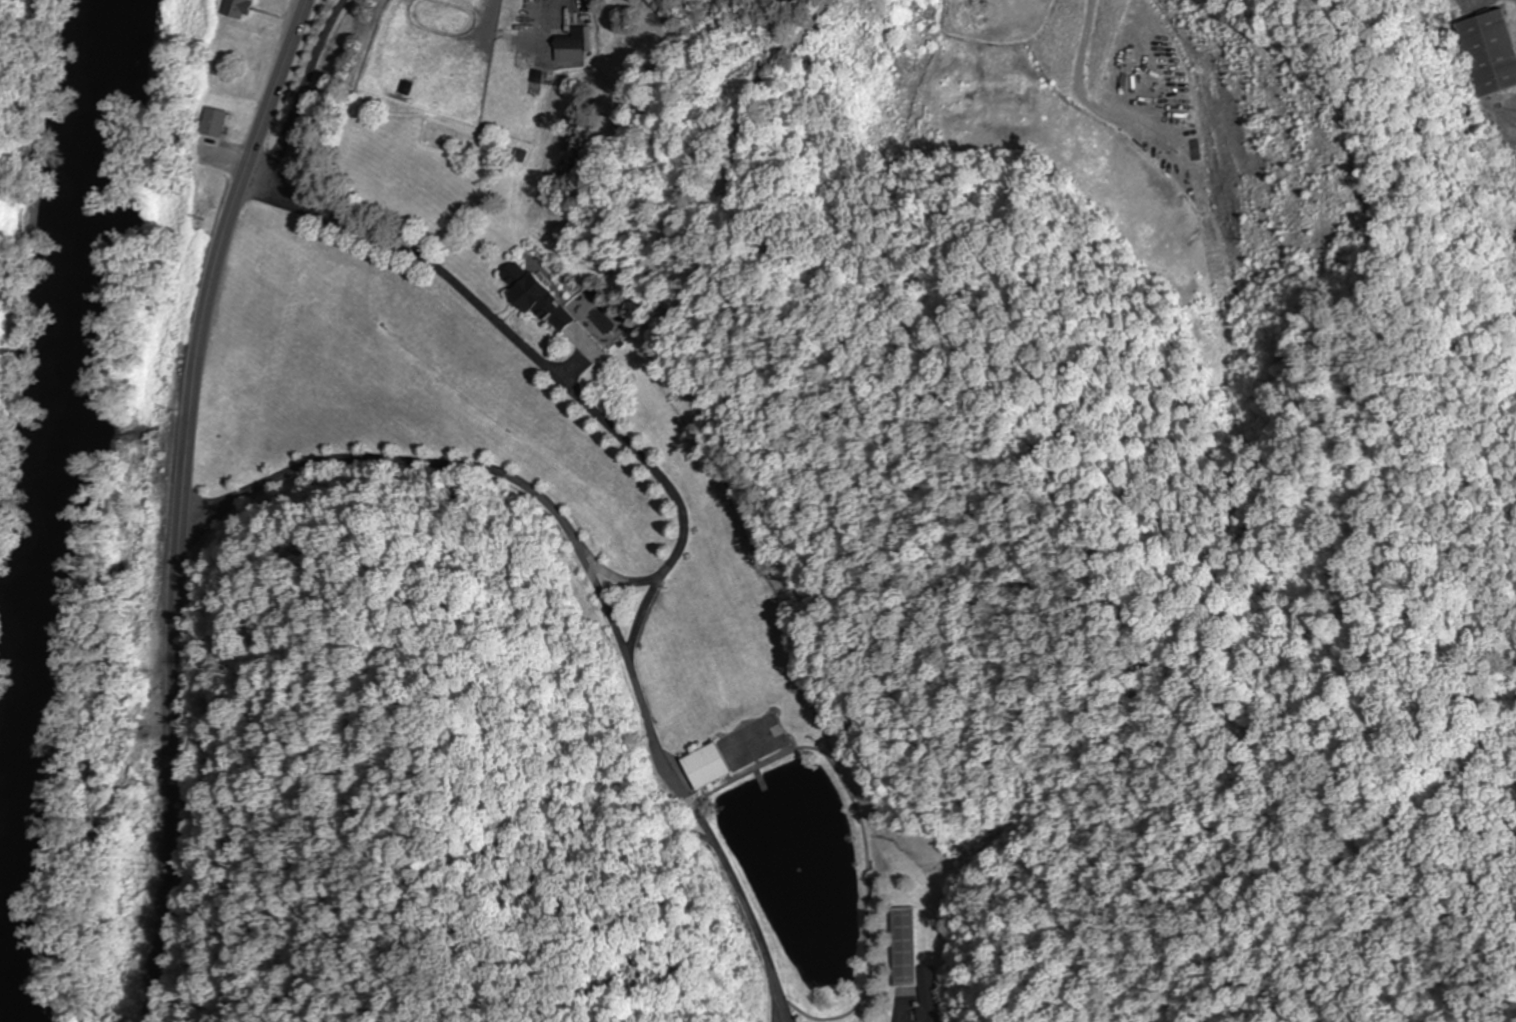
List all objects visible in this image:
building: (233, 9)
road: (570, 12)
building: (566, 52)
building: (1485, 54)
road: (301, 90)
building: (211, 128)
building: (518, 157)
building: (531, 297)
river: (44, 455)
road: (181, 502)
road: (685, 535)
building: (705, 767)
building: (914, 965)

